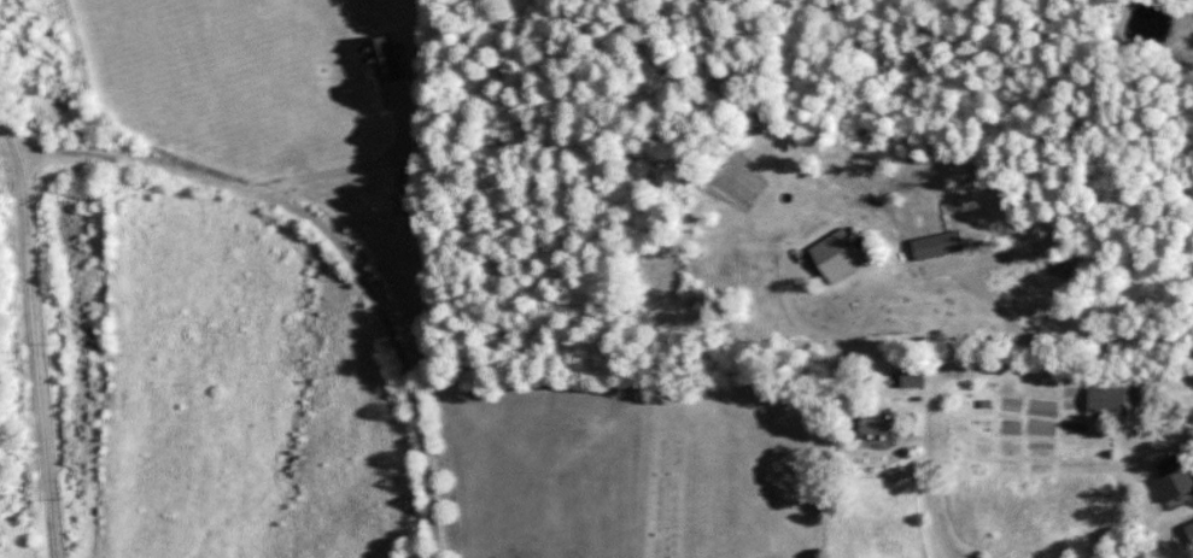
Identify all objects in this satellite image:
building: (378, 59)
building: (399, 204)
road: (326, 234)
building: (935, 243)
building: (829, 254)
building: (1033, 258)
road: (976, 317)
road: (37, 352)
building: (901, 377)
building: (1107, 398)
building: (870, 427)
building: (1170, 476)

